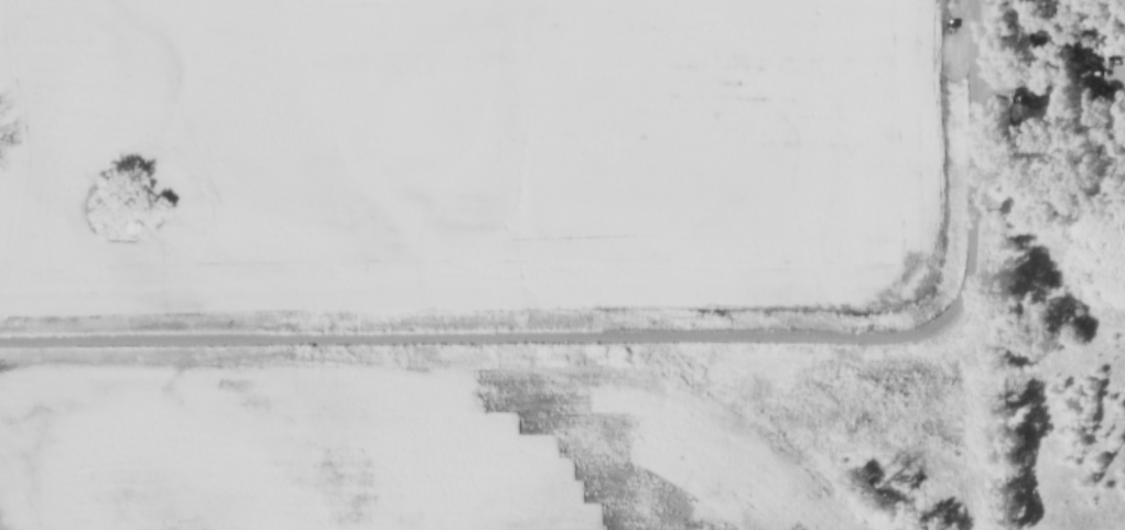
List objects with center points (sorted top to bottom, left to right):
building: (1049, 34)
road: (972, 160)
road: (486, 335)

